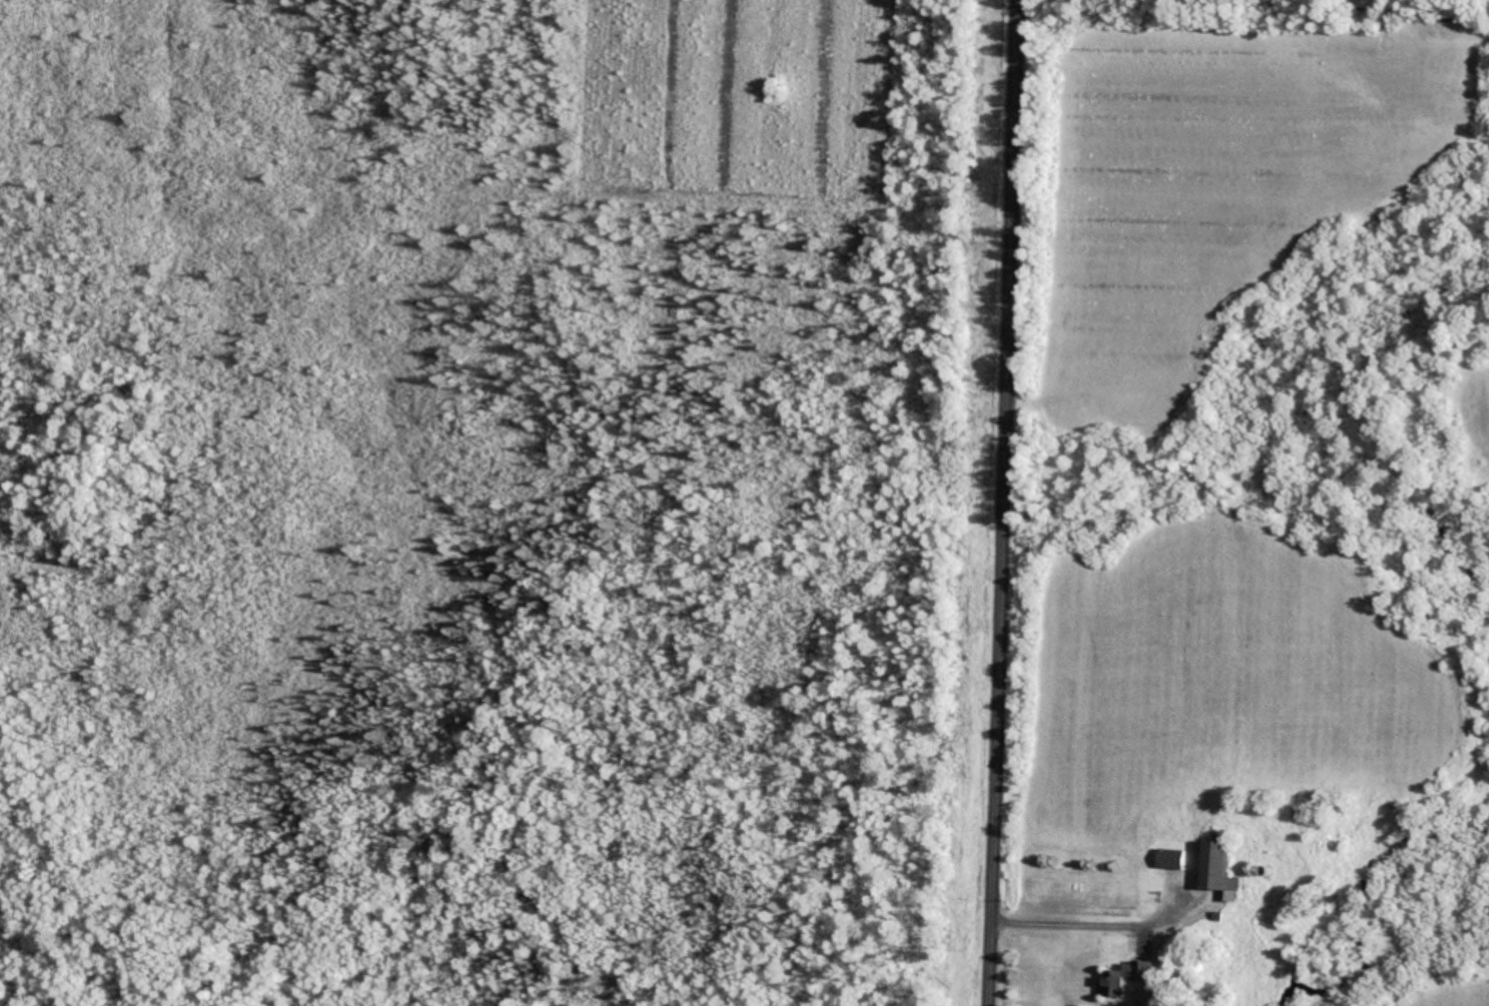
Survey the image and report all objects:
road: (1005, 502)
building: (1169, 862)
building: (1215, 874)
building: (1123, 980)

